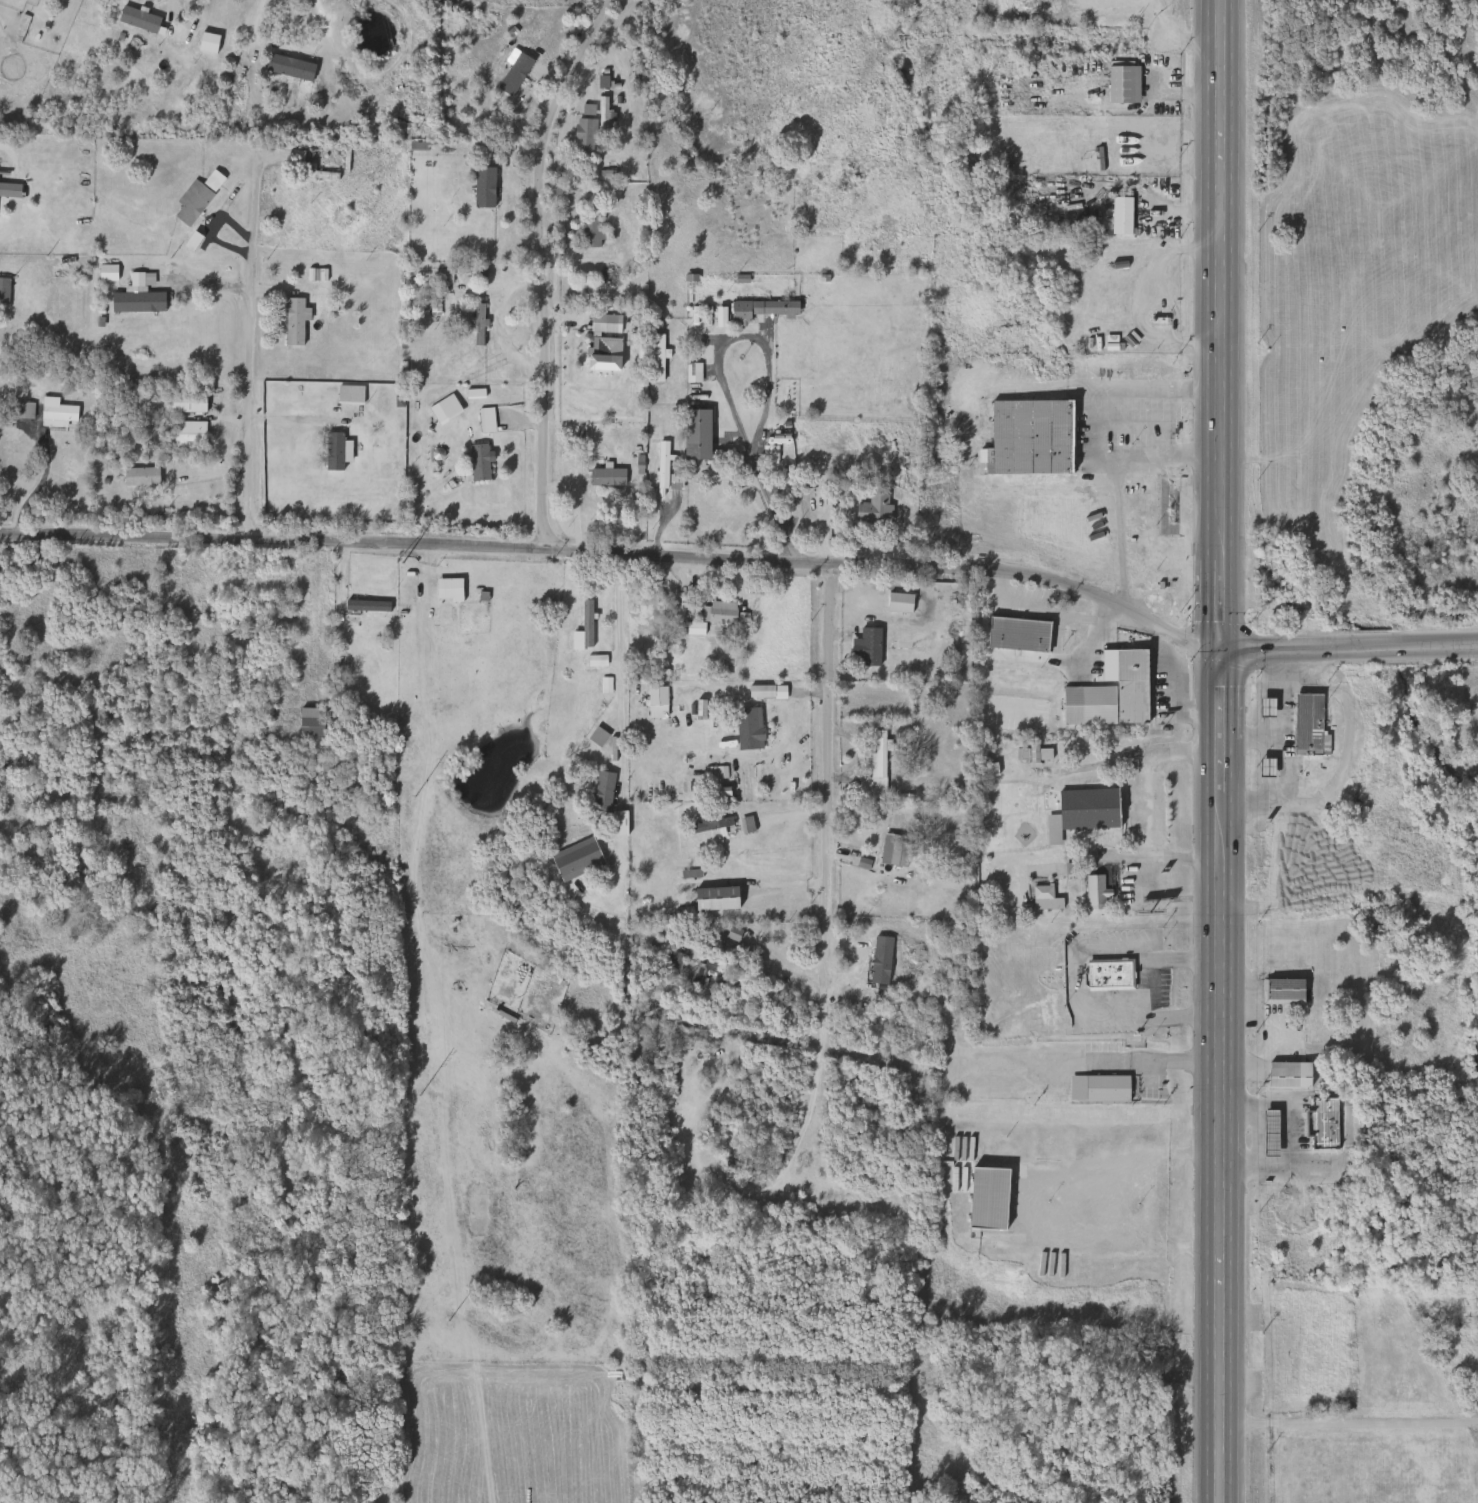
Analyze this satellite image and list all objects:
road: (171, 8)
building: (136, 19)
building: (205, 43)
road: (265, 44)
building: (283, 67)
building: (1121, 84)
building: (600, 117)
power tower: (416, 131)
building: (582, 134)
building: (298, 163)
building: (477, 185)
building: (8, 189)
building: (193, 197)
building: (1119, 214)
building: (589, 232)
road: (538, 268)
building: (441, 275)
building: (2, 290)
road: (1135, 298)
building: (135, 301)
building: (758, 309)
building: (292, 320)
building: (476, 324)
power tower: (410, 333)
road: (245, 338)
building: (653, 358)
building: (690, 372)
road: (720, 380)
building: (347, 394)
building: (184, 402)
road: (1221, 405)
building: (20, 410)
building: (55, 415)
building: (484, 420)
road: (1088, 424)
building: (186, 433)
building: (694, 434)
building: (1027, 437)
building: (331, 451)
building: (766, 452)
building: (476, 462)
building: (660, 464)
building: (138, 477)
building: (604, 477)
road: (36, 485)
building: (871, 510)
road: (1118, 535)
road: (457, 546)
power tower: (403, 564)
road: (1072, 587)
building: (269, 601)
building: (897, 603)
building: (360, 609)
road: (1043, 609)
building: (717, 612)
building: (584, 623)
building: (1016, 634)
building: (866, 647)
road: (1348, 649)
road: (1022, 657)
road: (615, 677)
building: (1117, 693)
road: (1169, 694)
building: (654, 702)
building: (1264, 707)
building: (309, 722)
building: (1306, 723)
building: (746, 728)
building: (595, 736)
road: (1277, 738)
road: (1341, 753)
building: (1036, 754)
building: (874, 762)
building: (1264, 768)
road: (1278, 772)
road: (822, 774)
building: (600, 790)
power tower: (414, 796)
road: (1143, 807)
road: (1025, 816)
building: (709, 822)
building: (616, 824)
building: (1051, 829)
road: (1219, 835)
building: (893, 850)
building: (687, 874)
building: (1091, 892)
building: (714, 899)
building: (1042, 899)
road: (1219, 908)
road: (773, 954)
building: (867, 961)
building: (669, 964)
building: (701, 971)
road: (1075, 974)
building: (1107, 975)
road: (1219, 987)
building: (1281, 990)
road: (1174, 1062)
building: (1287, 1075)
building: (1096, 1088)
power tower: (419, 1095)
building: (1321, 1130)
building: (1268, 1133)
road: (1291, 1137)
building: (987, 1199)
road: (1110, 1199)
road: (1220, 1259)
power tower: (448, 1320)
road: (1349, 1421)

